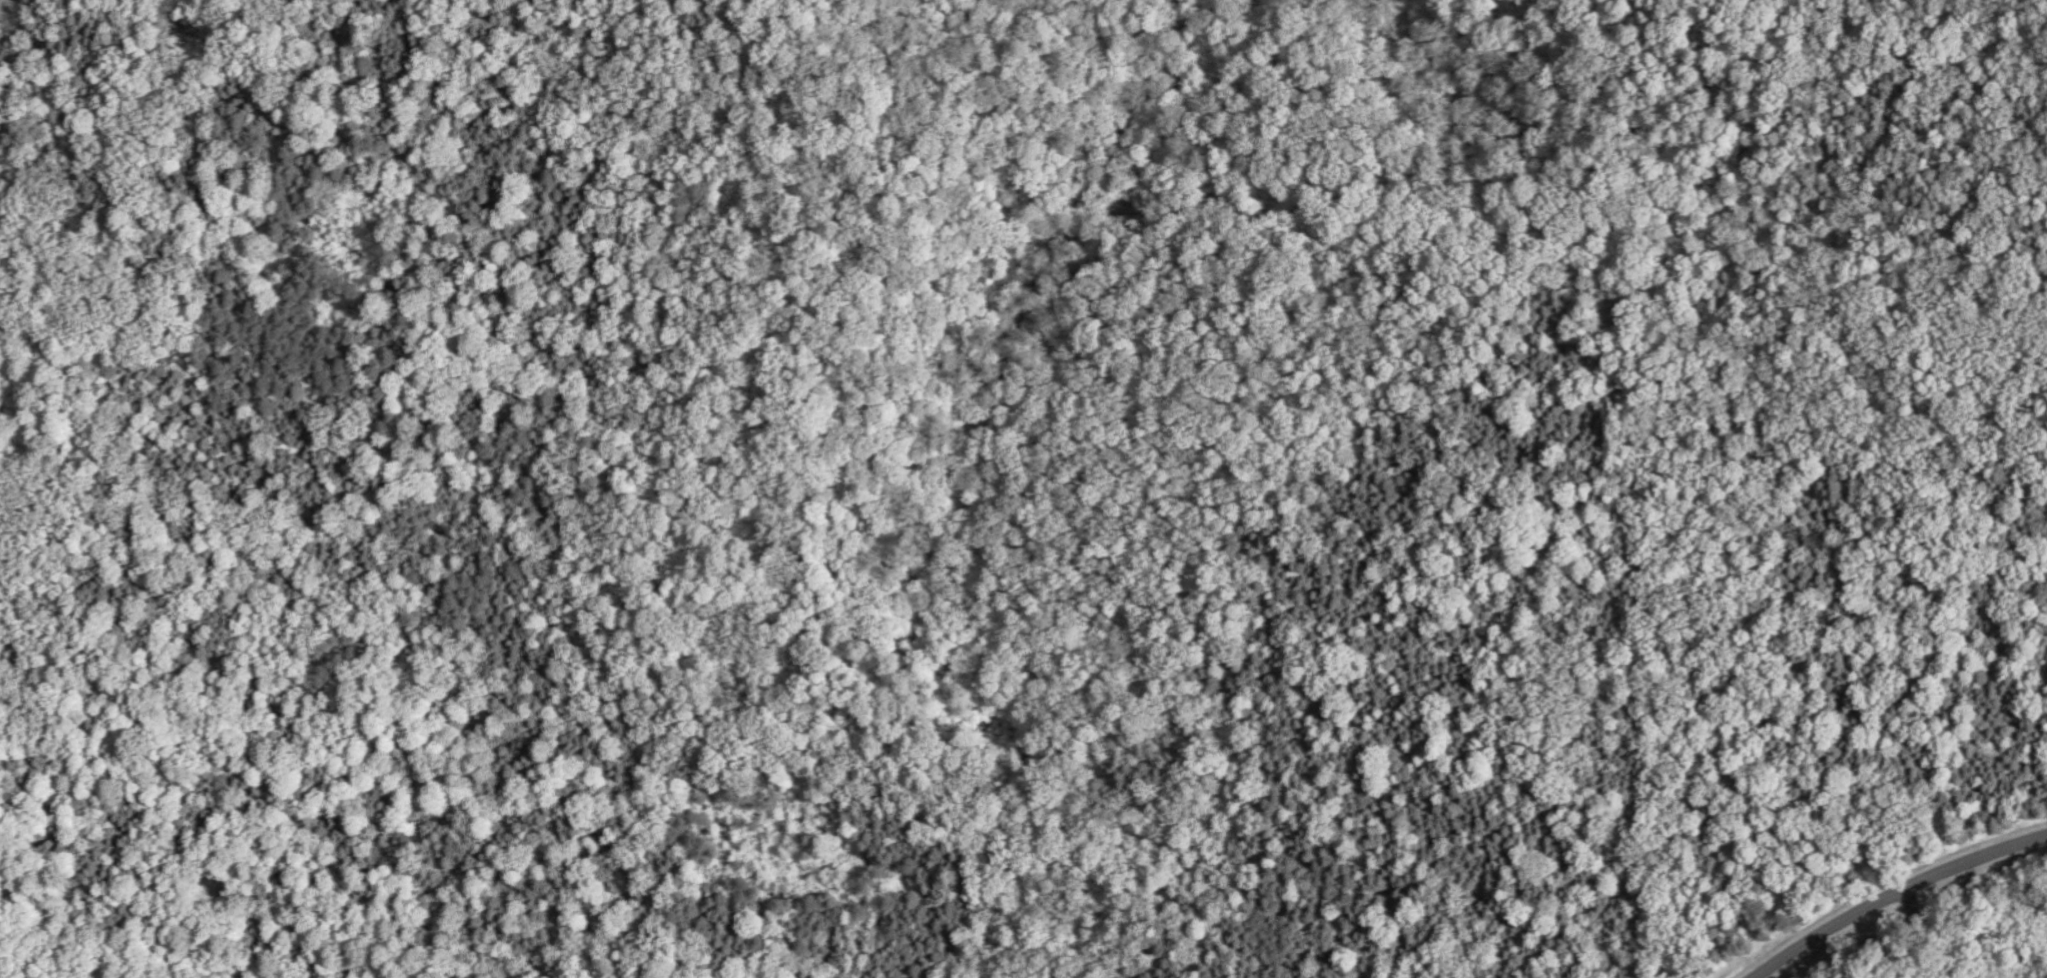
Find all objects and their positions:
road: (2007, 882)
road: (1904, 897)

